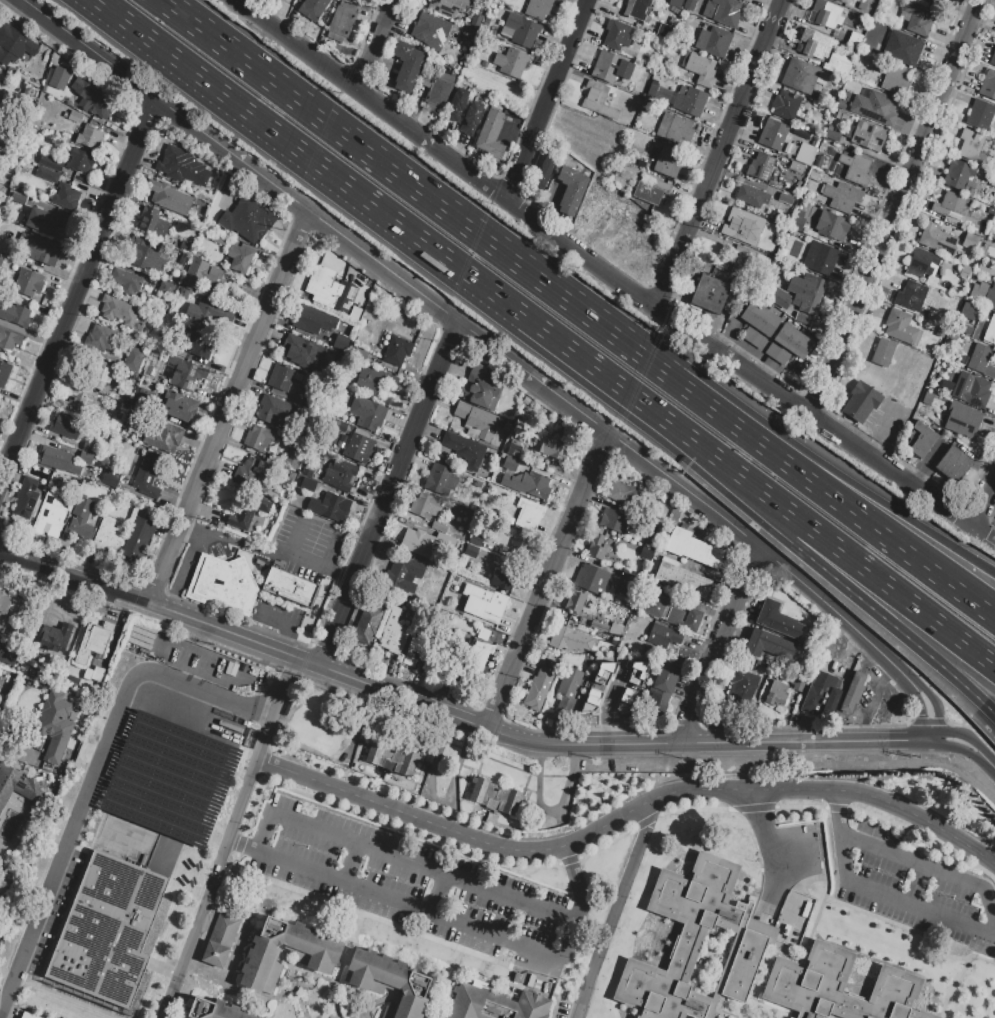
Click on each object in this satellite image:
building: (279, 0)
building: (837, 0)
building: (932, 2)
building: (676, 3)
building: (689, 4)
building: (447, 6)
building: (538, 8)
building: (636, 8)
building: (312, 9)
building: (722, 11)
building: (825, 14)
building: (917, 18)
building: (341, 21)
building: (430, 30)
building: (519, 30)
building: (663, 30)
building: (870, 32)
building: (617, 34)
building: (854, 39)
building: (713, 40)
building: (815, 43)
building: (14, 44)
road: (377, 46)
building: (902, 47)
building: (993, 59)
building: (510, 63)
building: (838, 64)
building: (406, 65)
building: (610, 67)
building: (697, 70)
building: (802, 75)
building: (893, 77)
building: (59, 78)
building: (987, 84)
building: (438, 90)
road: (547, 100)
building: (598, 100)
building: (689, 100)
building: (100, 105)
building: (456, 105)
building: (785, 105)
building: (876, 107)
building: (979, 115)
building: (75, 117)
building: (470, 117)
building: (843, 117)
building: (675, 128)
building: (491, 134)
building: (772, 134)
building: (831, 135)
building: (868, 135)
building: (90, 137)
road: (352, 142)
building: (825, 142)
building: (970, 143)
building: (805, 153)
road: (719, 154)
building: (80, 161)
building: (50, 162)
building: (667, 162)
building: (179, 164)
building: (760, 166)
building: (855, 167)
building: (544, 170)
building: (793, 171)
building: (47, 174)
building: (957, 174)
building: (570, 190)
building: (650, 190)
building: (750, 195)
building: (65, 196)
building: (168, 197)
building: (842, 197)
building: (16, 198)
building: (950, 206)
road: (896, 209)
building: (247, 219)
building: (151, 222)
building: (796, 222)
building: (49, 223)
building: (832, 225)
building: (742, 226)
building: (219, 238)
building: (937, 239)
road: (415, 240)
building: (970, 240)
building: (184, 244)
building: (38, 248)
building: (145, 255)
building: (745, 257)
building: (239, 258)
building: (824, 259)
building: (922, 263)
road: (600, 269)
building: (965, 271)
building: (973, 275)
building: (202, 276)
building: (125, 280)
building: (319, 281)
building: (28, 282)
building: (166, 287)
road: (78, 291)
building: (709, 294)
building: (983, 294)
building: (911, 295)
building: (338, 296)
building: (803, 300)
building: (968, 310)
building: (118, 311)
building: (15, 314)
building: (208, 316)
building: (759, 318)
building: (313, 319)
building: (901, 327)
building: (966, 329)
building: (990, 330)
building: (939, 333)
building: (951, 335)
building: (106, 338)
building: (753, 338)
building: (8, 339)
building: (792, 341)
building: (198, 343)
building: (396, 350)
building: (301, 351)
building: (882, 352)
road: (500, 353)
building: (777, 354)
building: (133, 359)
building: (338, 359)
building: (981, 360)
building: (157, 363)
building: (92, 370)
building: (4, 372)
building: (185, 373)
building: (280, 376)
building: (297, 376)
building: (376, 383)
building: (971, 389)
building: (481, 394)
building: (77, 398)
building: (860, 402)
building: (179, 406)
building: (313, 406)
road: (230, 409)
building: (275, 409)
building: (337, 414)
building: (368, 414)
building: (962, 419)
building: (476, 423)
building: (68, 427)
road: (771, 427)
building: (164, 436)
building: (258, 437)
building: (921, 440)
building: (88, 447)
building: (358, 448)
road: (764, 448)
building: (552, 450)
building: (466, 452)
building: (514, 452)
building: (86, 457)
building: (58, 460)
building: (511, 465)
building: (953, 465)
building: (253, 473)
building: (147, 474)
building: (340, 474)
building: (442, 482)
building: (307, 483)
building: (535, 487)
road: (388, 496)
building: (623, 496)
building: (26, 498)
road: (984, 502)
building: (333, 507)
building: (427, 507)
building: (246, 512)
building: (528, 514)
building: (49, 516)
building: (79, 519)
building: (613, 520)
building: (437, 525)
road: (191, 531)
building: (108, 536)
road: (984, 536)
building: (137, 538)
building: (476, 540)
building: (419, 542)
building: (523, 547)
building: (597, 547)
road: (238, 549)
building: (691, 549)
building: (471, 552)
parking lot: (306, 553)
building: (403, 569)
road: (866, 576)
building: (590, 578)
building: (682, 579)
building: (499, 580)
road: (547, 582)
building: (224, 584)
building: (290, 587)
building: (4, 602)
building: (575, 602)
road: (863, 602)
building: (482, 603)
road: (160, 608)
building: (670, 611)
road: (991, 612)
parking lot: (280, 615)
building: (778, 621)
building: (367, 625)
road: (285, 627)
building: (394, 633)
building: (484, 635)
building: (55, 637)
building: (664, 637)
building: (569, 640)
building: (93, 641)
building: (423, 645)
road: (721, 647)
building: (412, 649)
building: (769, 649)
building: (18, 657)
building: (453, 660)
building: (476, 662)
building: (553, 665)
building: (615, 668)
building: (602, 672)
building: (635, 672)
building: (93, 674)
building: (73, 680)
road: (350, 680)
building: (569, 683)
building: (740, 688)
building: (538, 689)
building: (596, 689)
building: (662, 691)
building: (853, 693)
building: (777, 695)
building: (821, 695)
parking lot: (868, 697)
building: (626, 699)
road: (876, 702)
building: (564, 704)
road: (279, 708)
building: (590, 712)
building: (56, 724)
road: (678, 746)
building: (392, 758)
road: (987, 763)
road: (262, 768)
road: (466, 769)
road: (379, 771)
road: (93, 775)
road: (417, 781)
road: (272, 784)
road: (466, 786)
building: (22, 787)
road: (776, 788)
road: (526, 789)
building: (495, 796)
building: (162, 798)
road: (653, 806)
road: (405, 808)
road: (502, 815)
road: (484, 823)
road: (264, 831)
road: (766, 845)
road: (351, 863)
road: (423, 867)
road: (933, 868)
road: (917, 885)
road: (211, 887)
road: (878, 893)
road: (438, 895)
road: (580, 898)
road: (395, 901)
road: (615, 905)
road: (215, 914)
building: (108, 930)
building: (220, 940)
building: (696, 943)
road: (348, 949)
building: (316, 955)
road: (198, 961)
road: (533, 968)
road: (328, 982)
building: (389, 982)
road: (446, 983)
road: (312, 987)
building: (838, 988)
road: (296, 993)
road: (300, 993)
road: (376, 1004)
building: (495, 1004)
road: (578, 1007)
building: (60, 1008)
road: (352, 1009)
building: (215, 1010)
building: (27, 1015)

